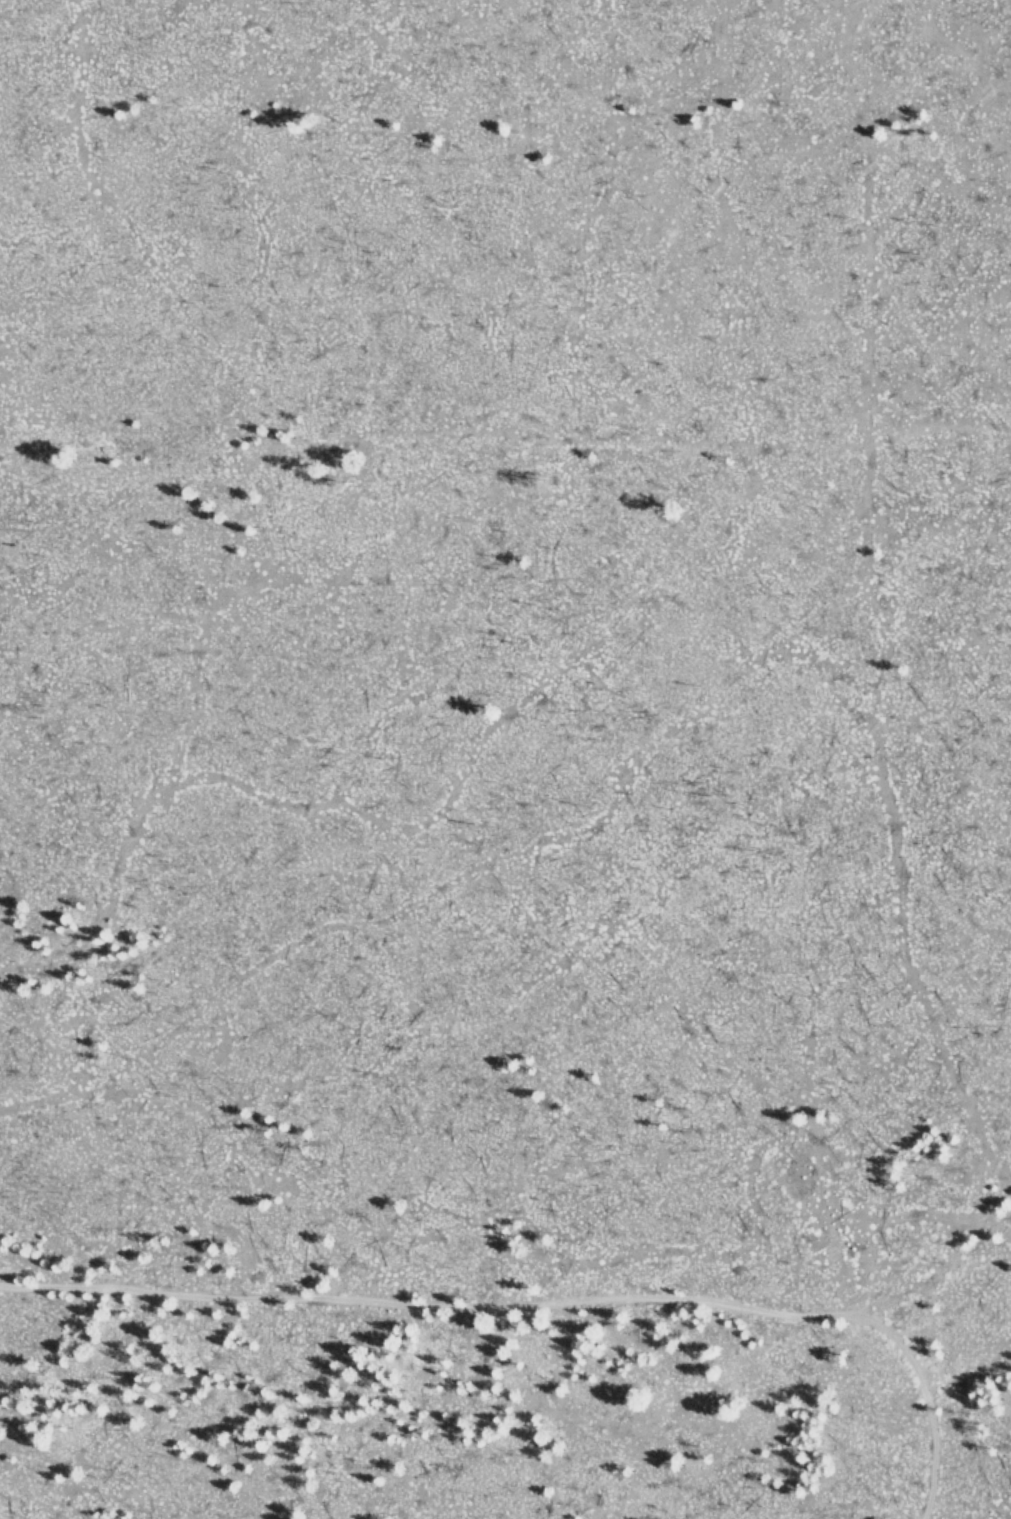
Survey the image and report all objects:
road: (536, 1307)

